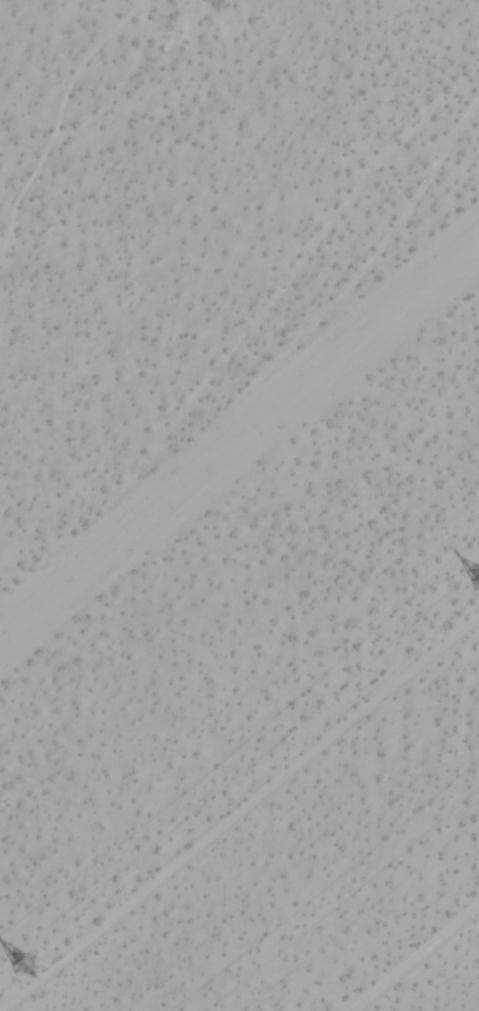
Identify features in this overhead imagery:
road: (413, 955)
power tower: (31, 958)

